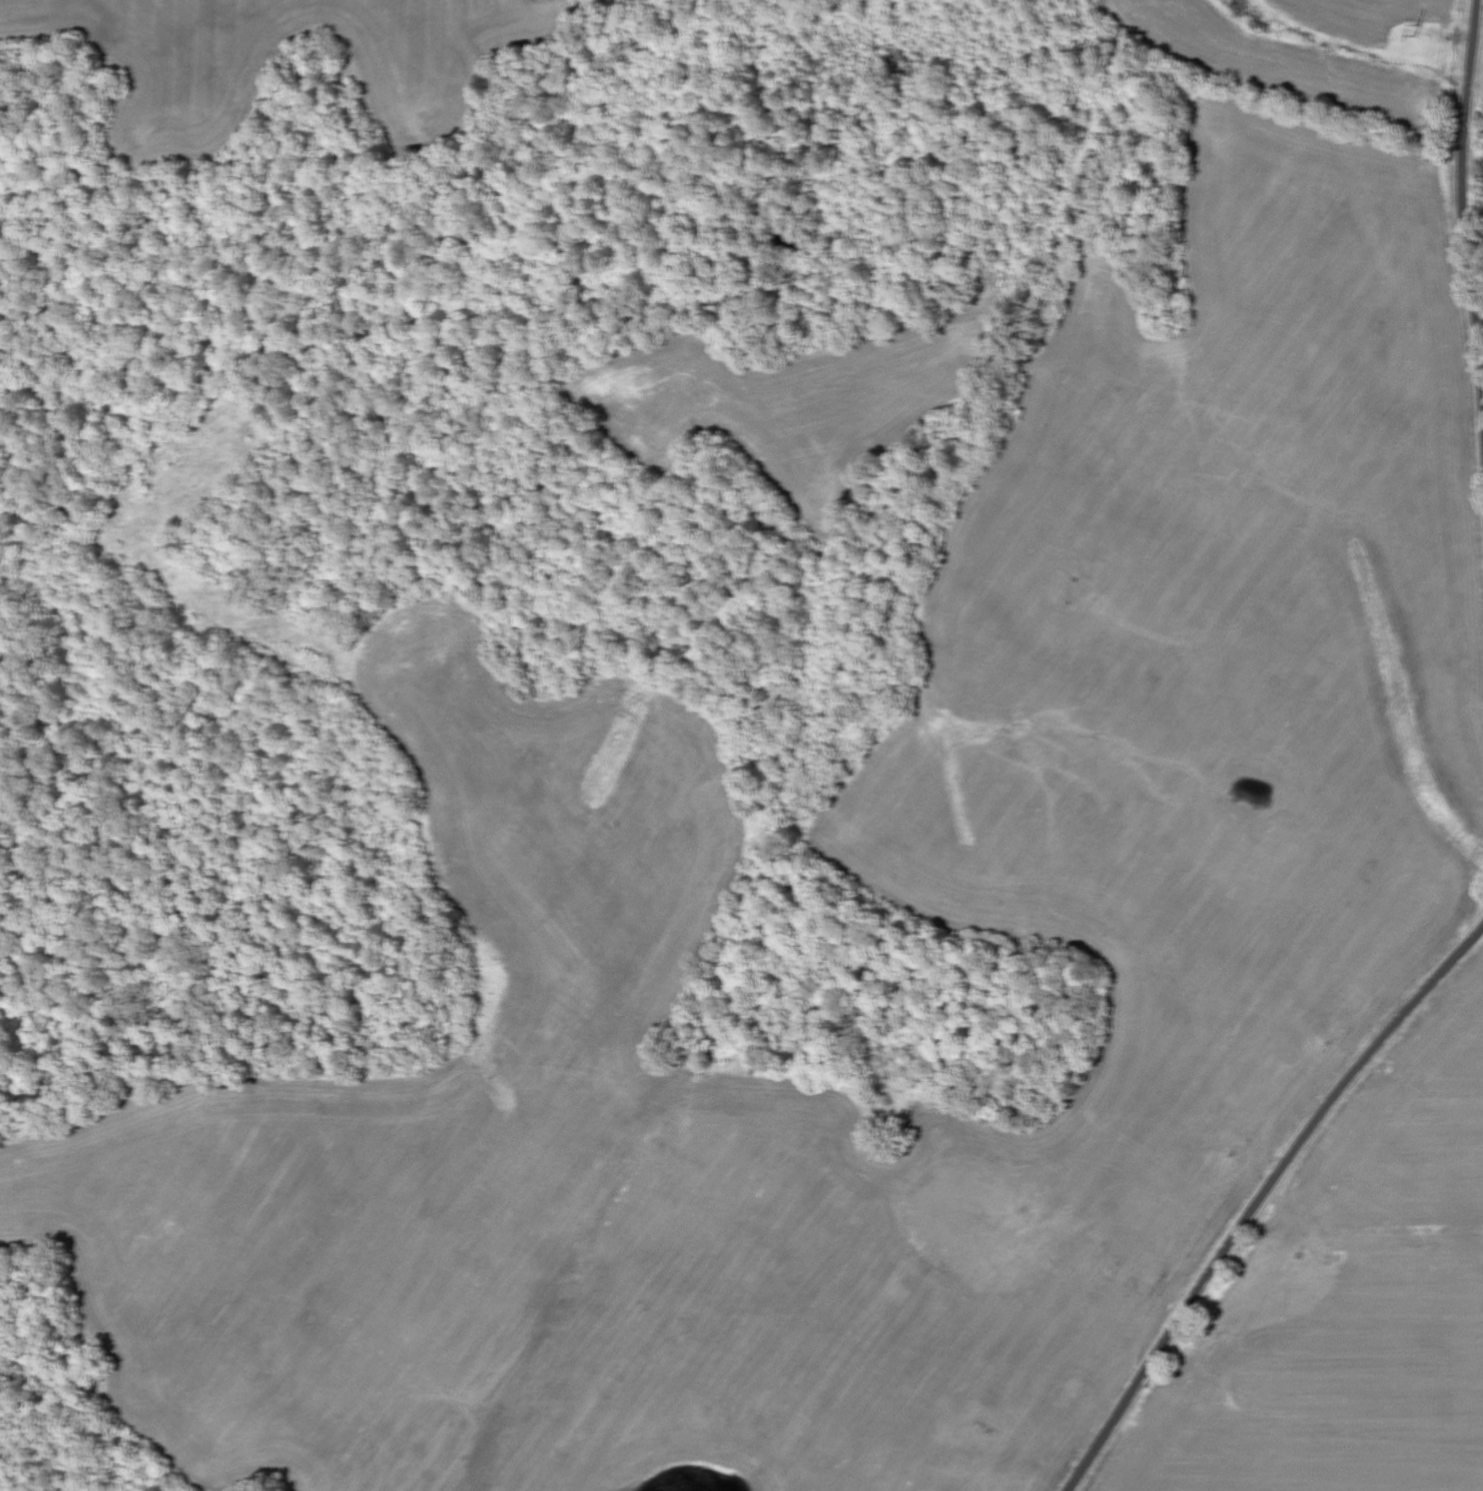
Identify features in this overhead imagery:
power tower: (1419, 32)
road: (1466, 220)
road: (1261, 1200)

